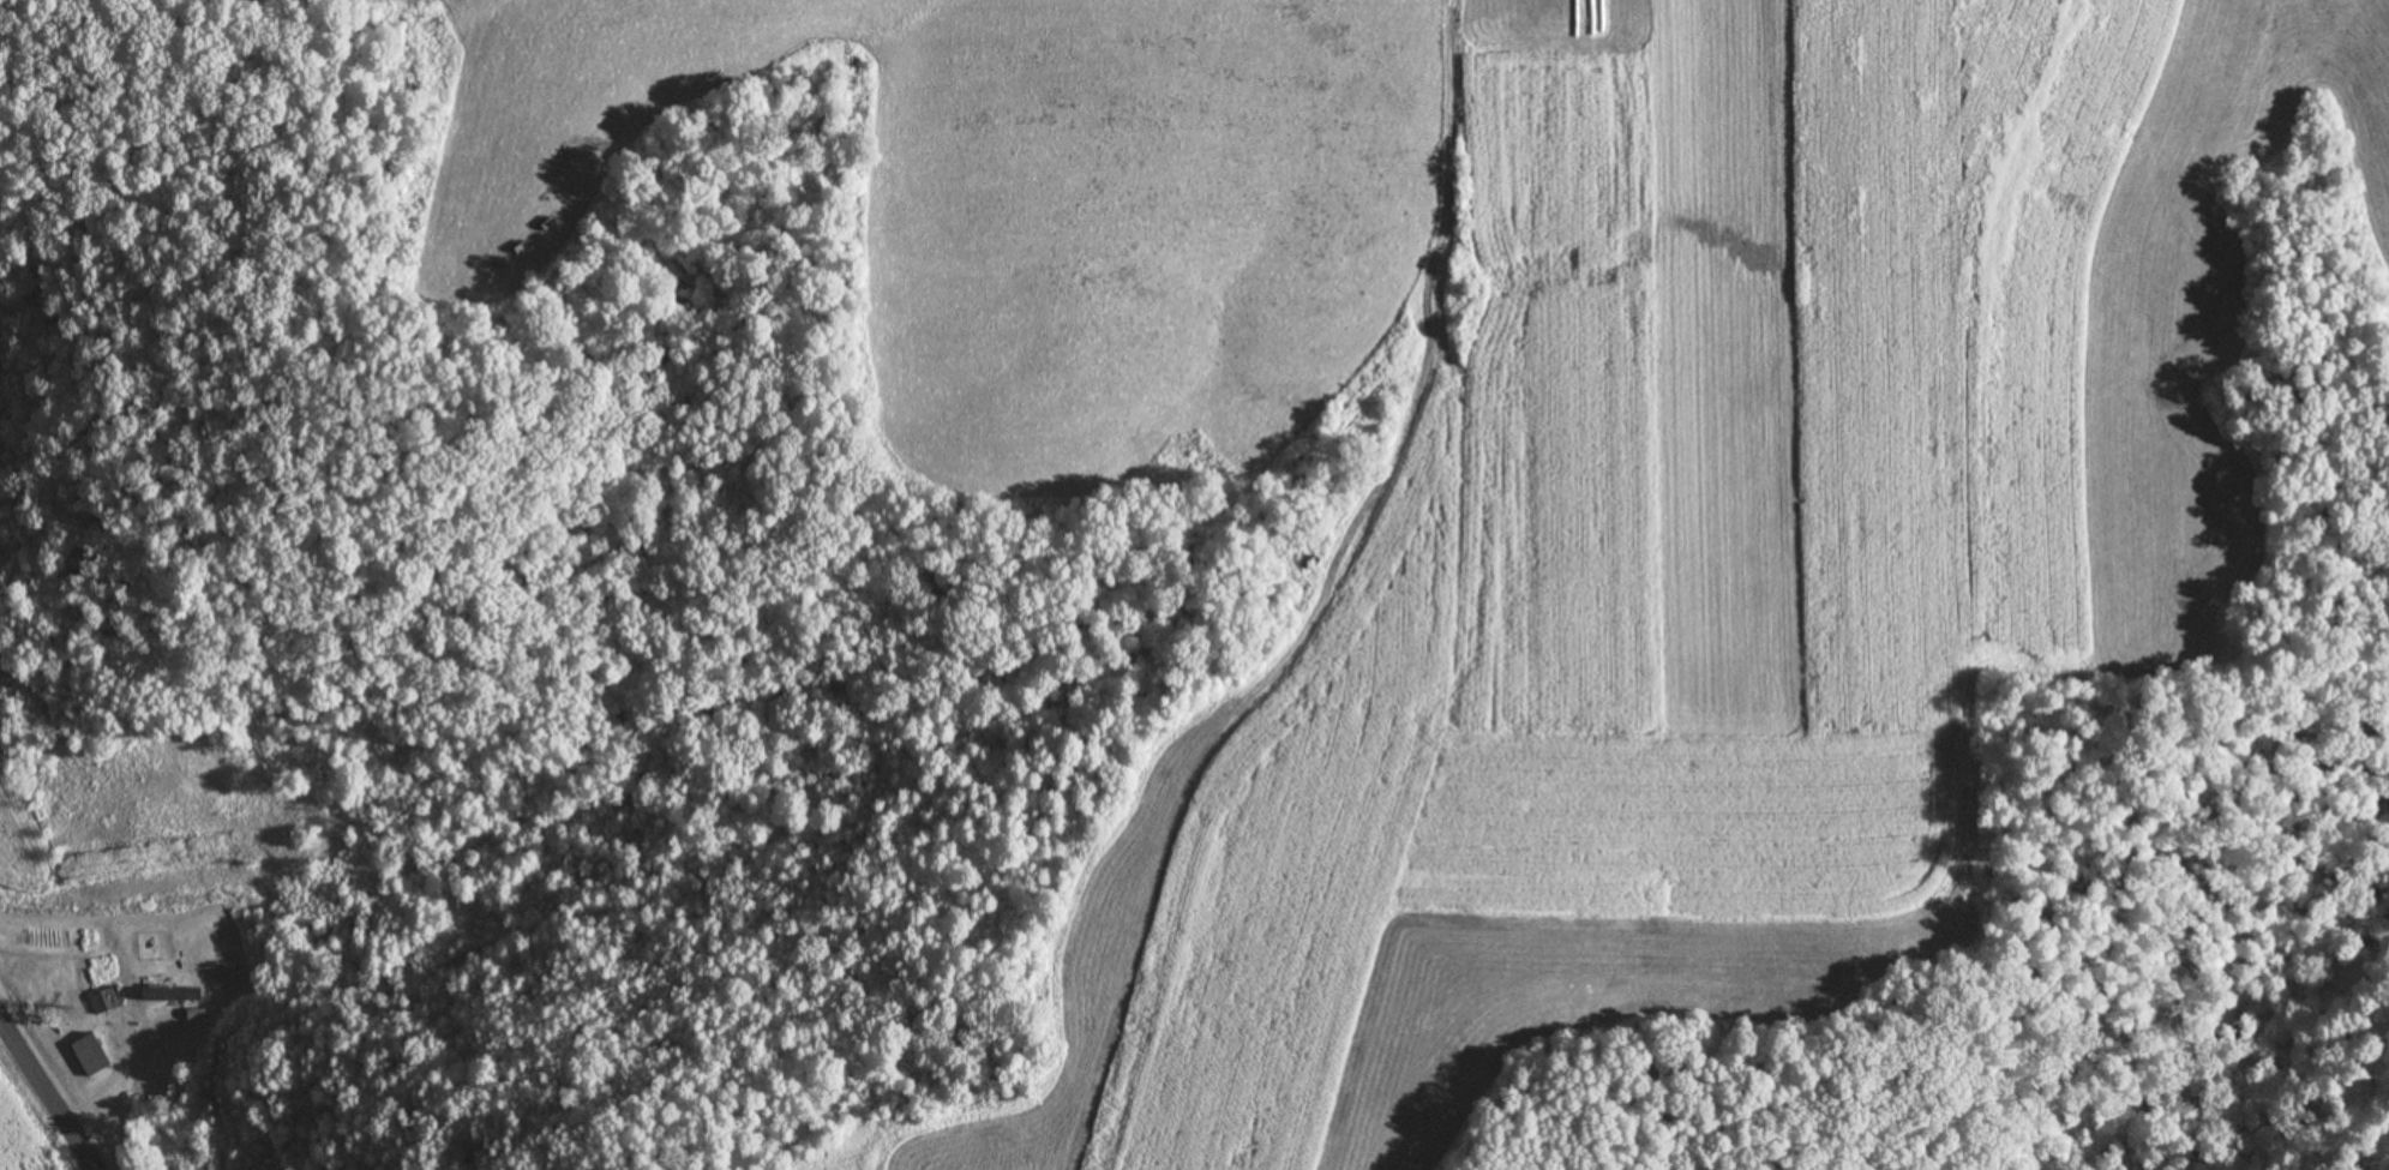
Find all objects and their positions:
building: (196, 941)
building: (164, 994)
building: (102, 998)
building: (84, 1054)
road: (47, 1094)

